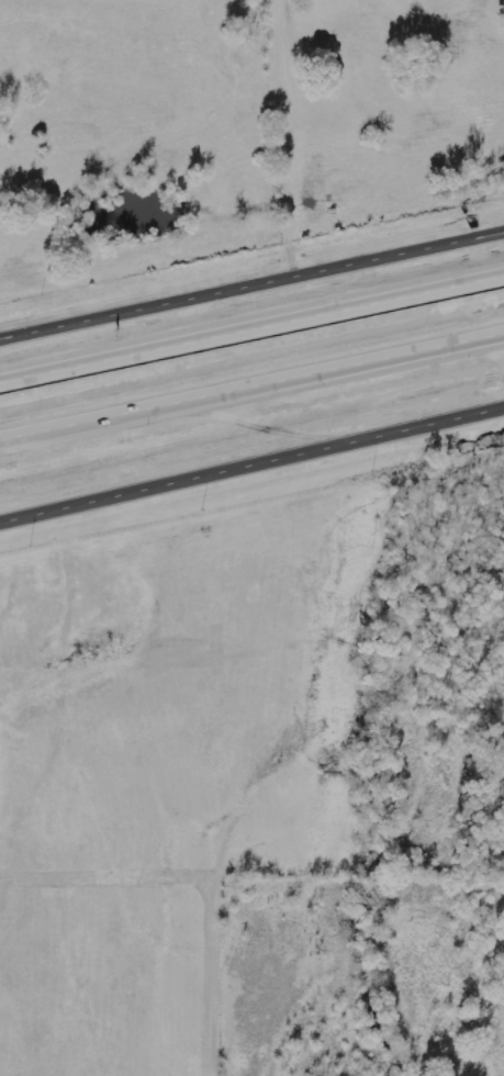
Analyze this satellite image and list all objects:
road: (251, 277)
road: (251, 321)
road: (251, 384)
road: (251, 462)

